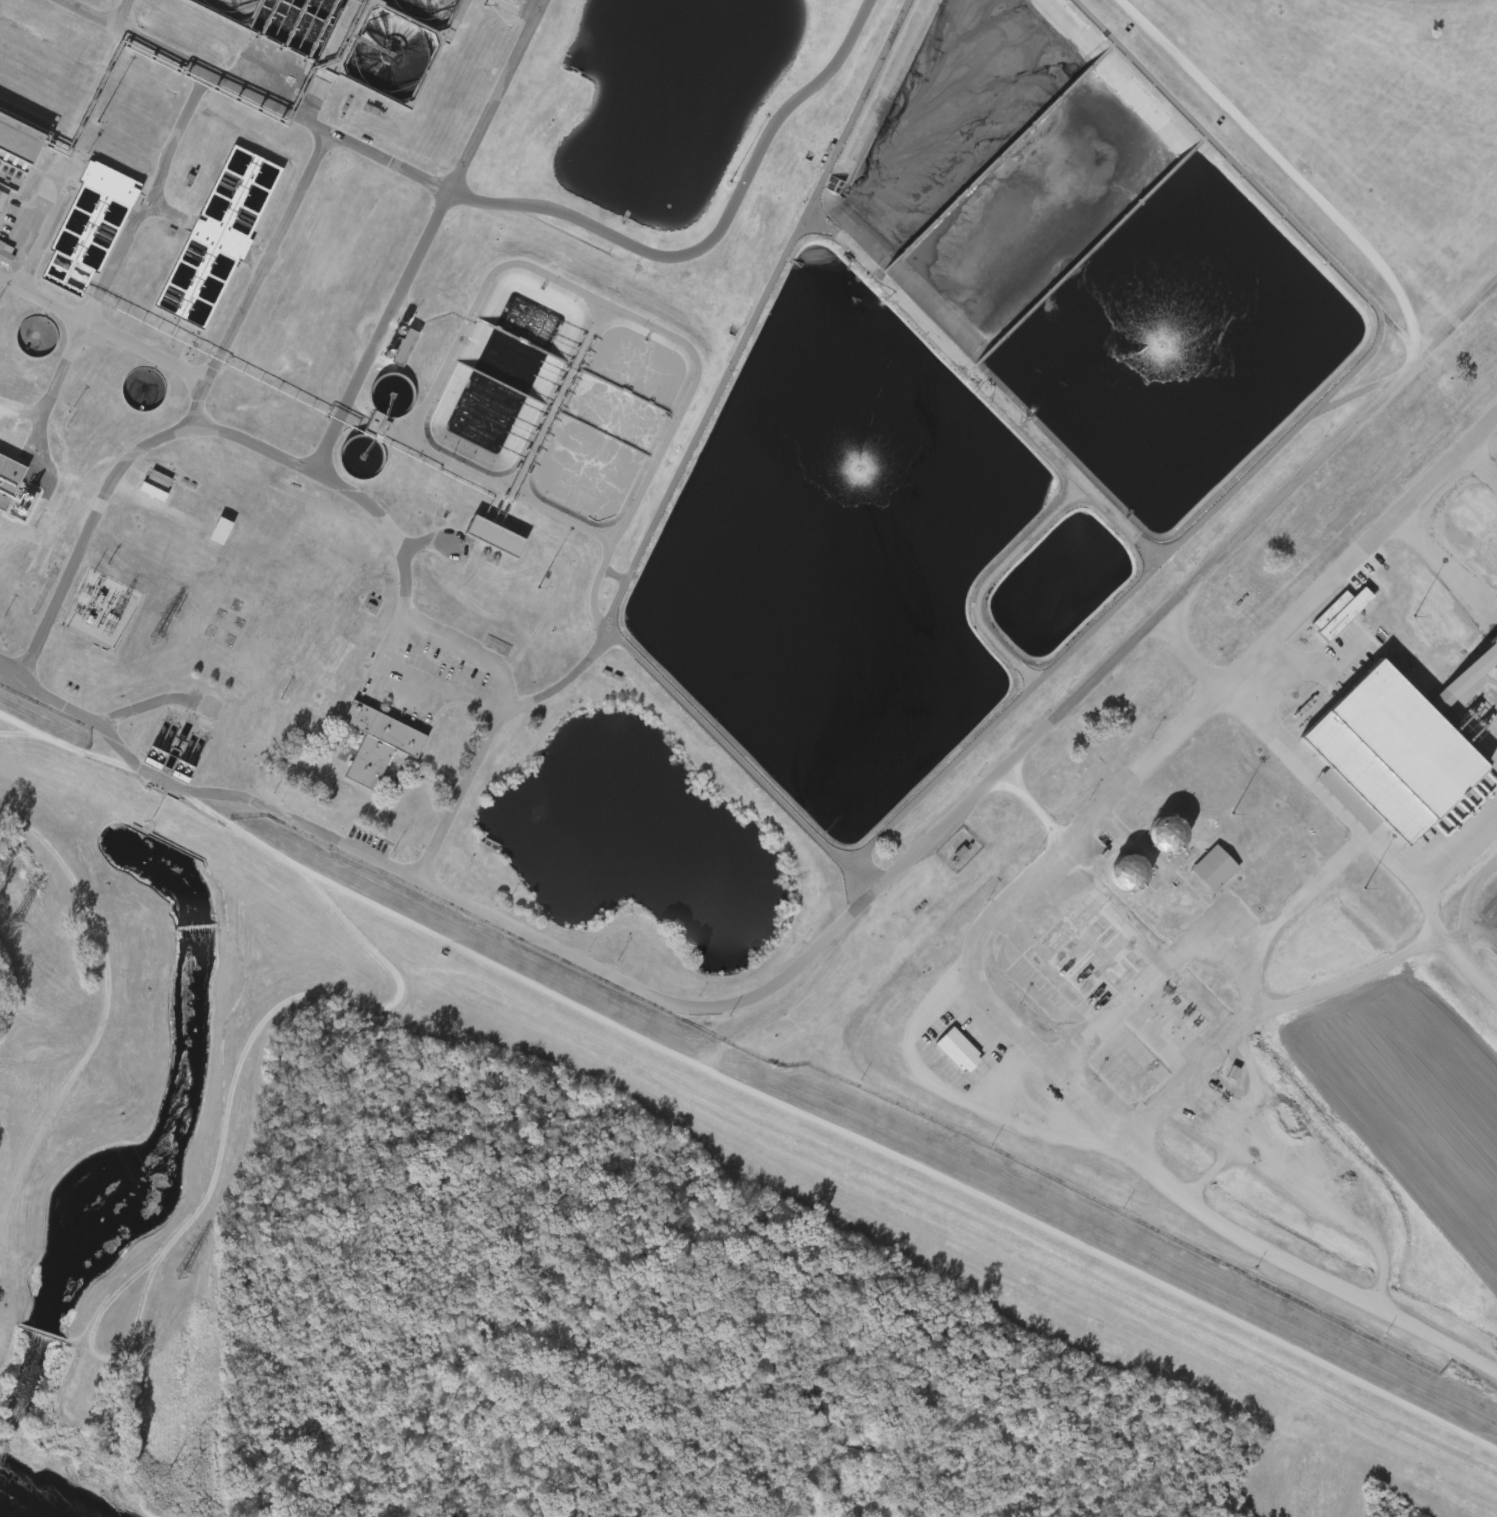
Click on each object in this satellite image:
building: (511, 0)
road: (119, 12)
building: (355, 36)
building: (19, 149)
building: (2, 199)
road: (519, 205)
building: (89, 228)
road: (1300, 233)
building: (218, 238)
road: (28, 241)
building: (5, 255)
road: (547, 277)
building: (391, 347)
building: (408, 347)
road: (220, 367)
road: (720, 381)
road: (54, 387)
building: (361, 422)
building: (376, 424)
building: (10, 470)
road: (324, 476)
building: (147, 478)
building: (140, 491)
building: (208, 530)
building: (224, 531)
building: (486, 537)
road: (82, 545)
wastewater plant: (826, 593)
road: (1190, 601)
building: (1327, 612)
building: (1340, 616)
road: (1062, 654)
road: (1191, 660)
road: (13, 664)
road: (12, 667)
road: (1222, 690)
building: (381, 741)
road: (725, 746)
building: (1402, 765)
building: (1154, 833)
building: (1201, 867)
building: (1114, 872)
road: (347, 896)
road: (537, 939)
building: (1117, 973)
building: (946, 1049)
building: (959, 1050)
road: (1149, 1126)
road: (1099, 1262)
river: (31, 1496)

